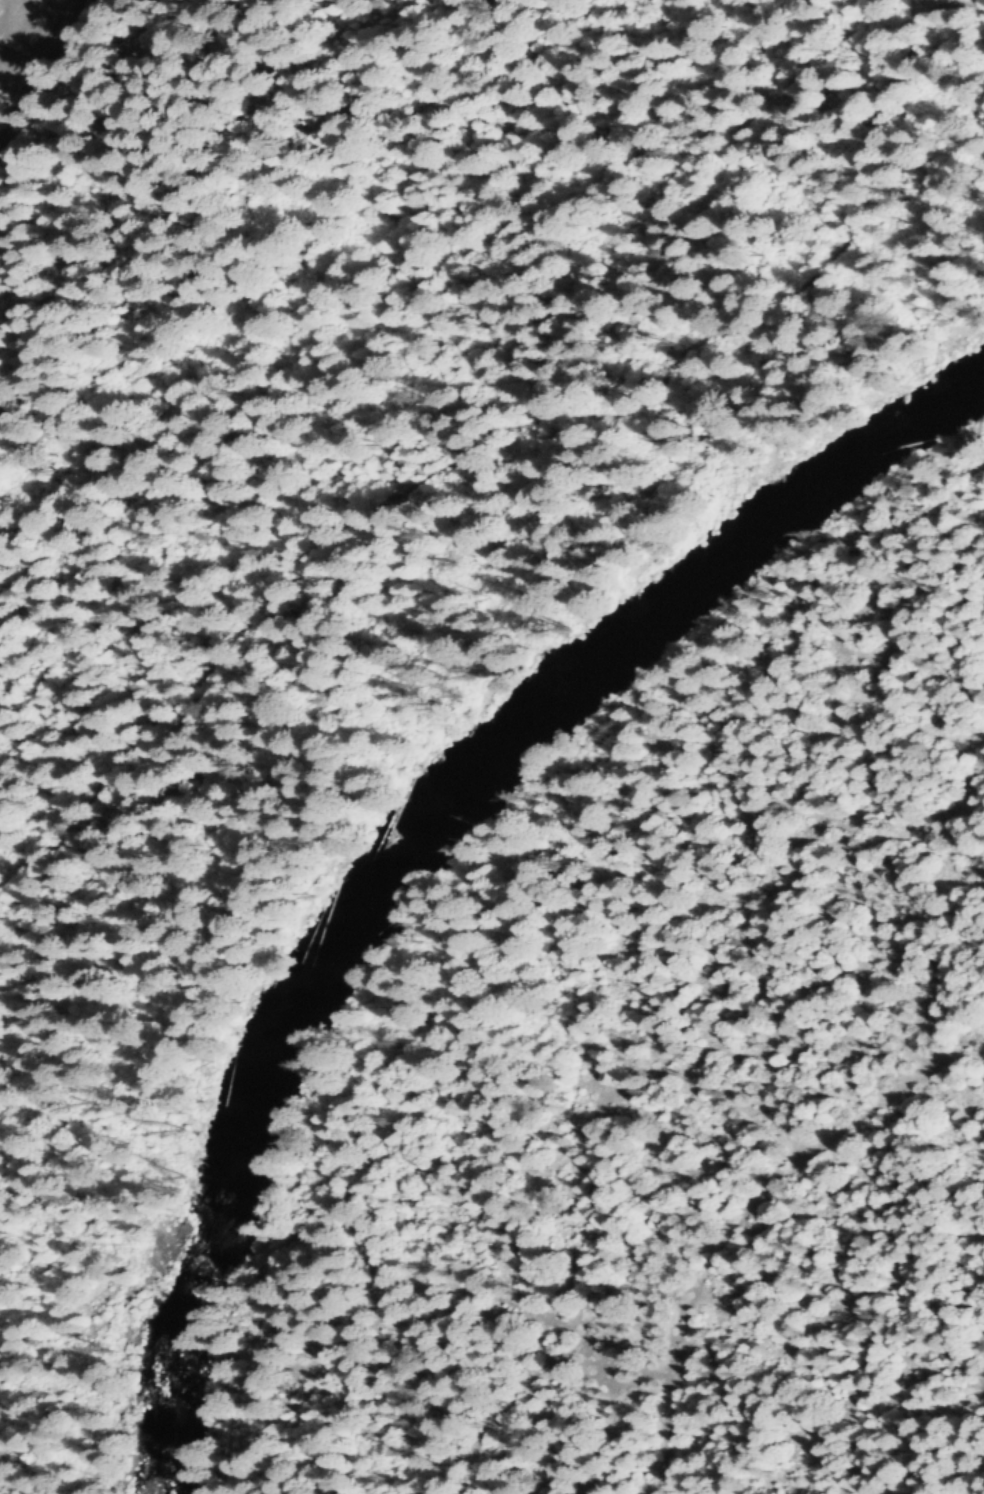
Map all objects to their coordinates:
road: (48, 44)
road: (21, 88)
river: (436, 847)
road: (478, 886)
road: (744, 1207)

